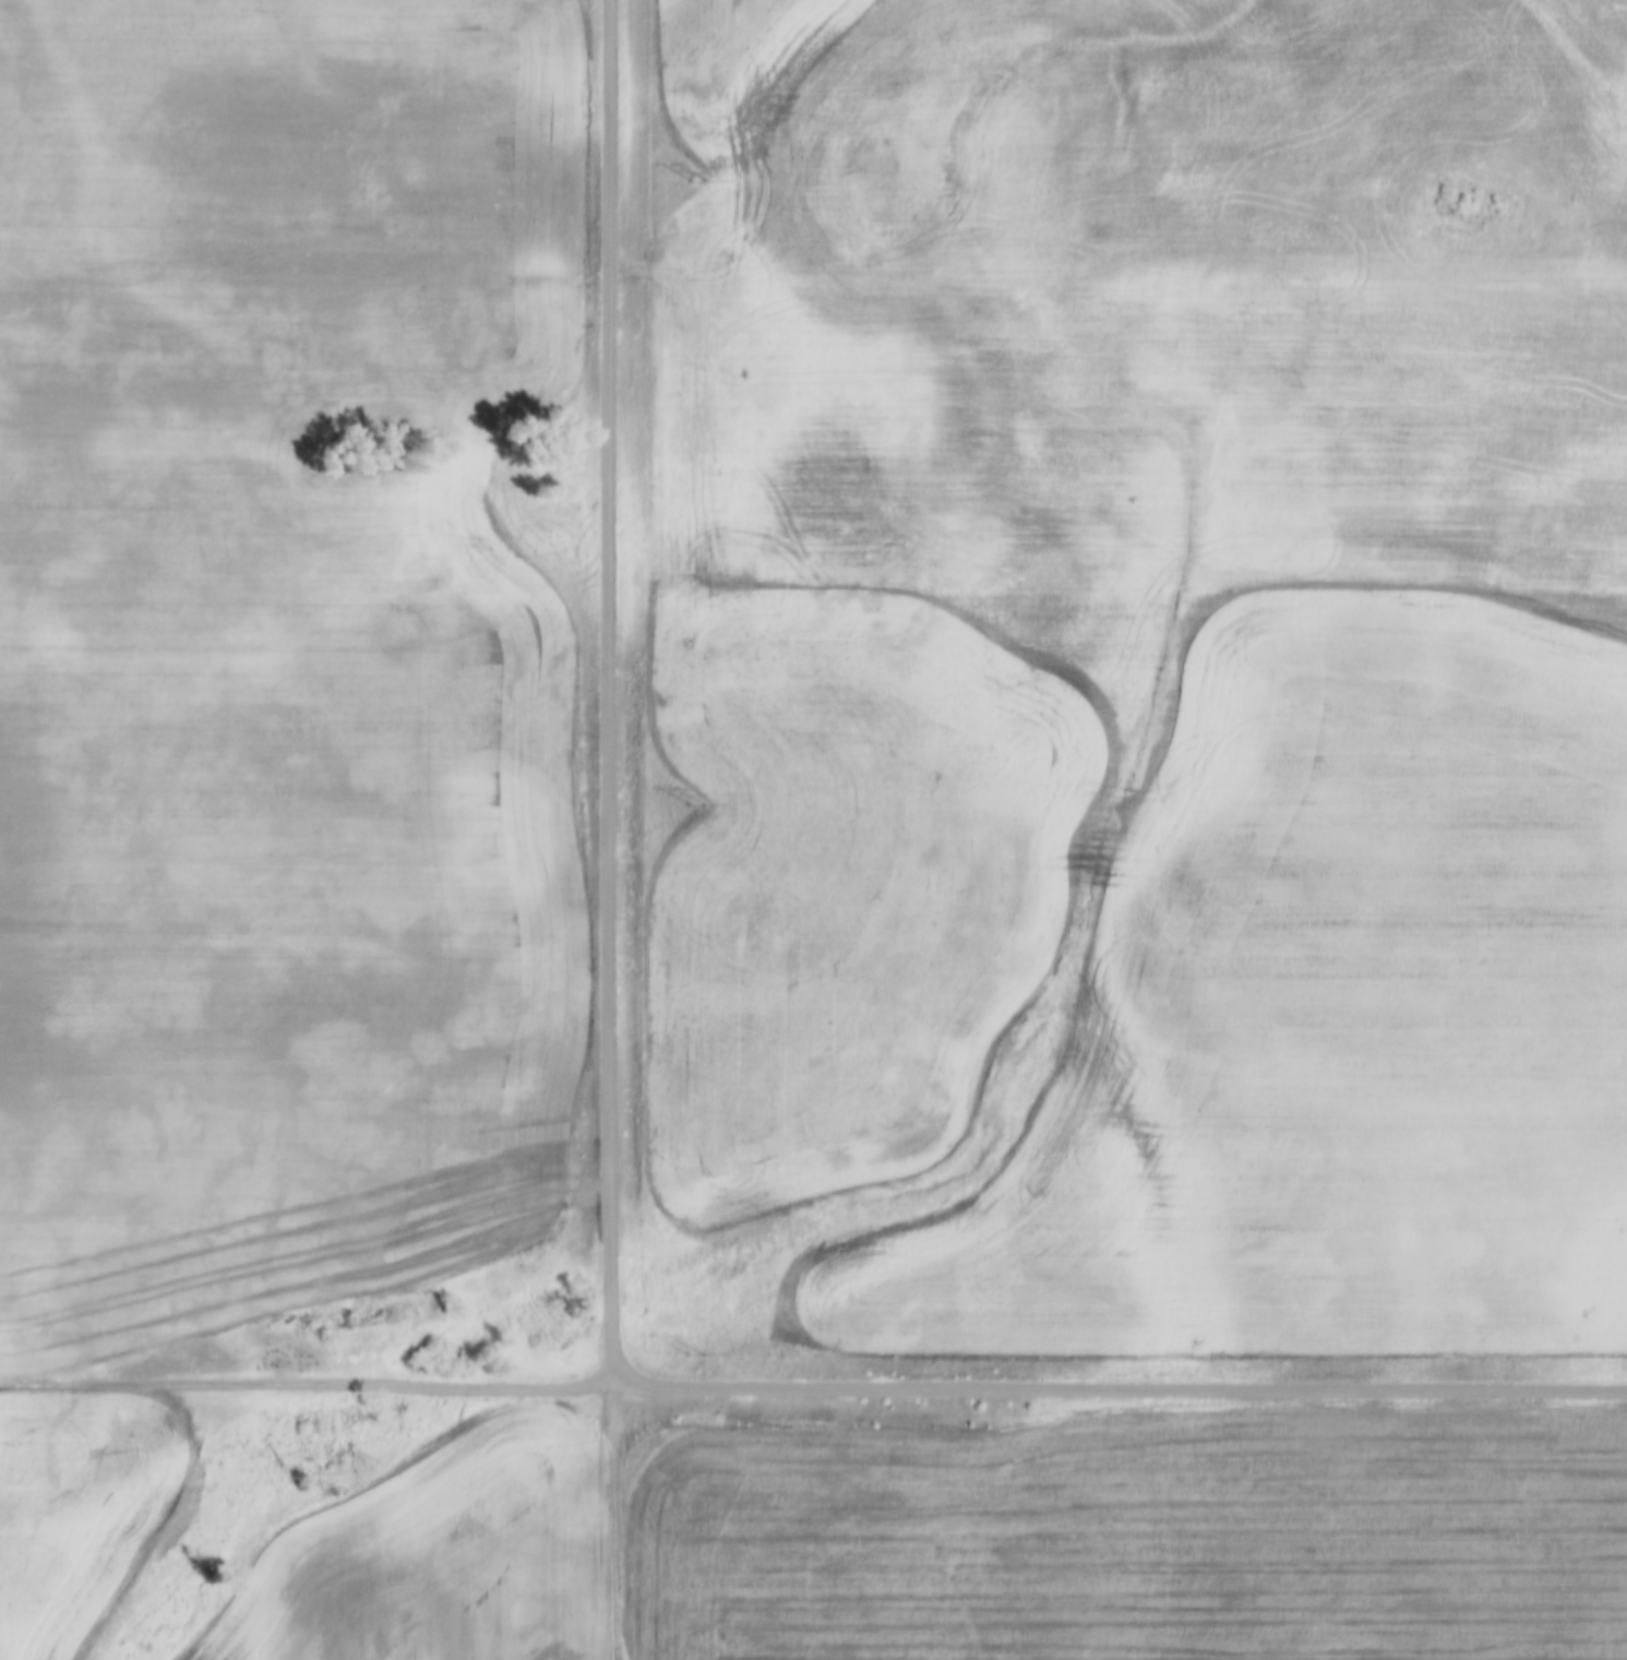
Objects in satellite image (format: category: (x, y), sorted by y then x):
power tower: (697, 181)
road: (611, 692)
power tower: (696, 808)
power tower: (694, 1358)
road: (306, 1383)
road: (1118, 1389)
road: (614, 1521)

